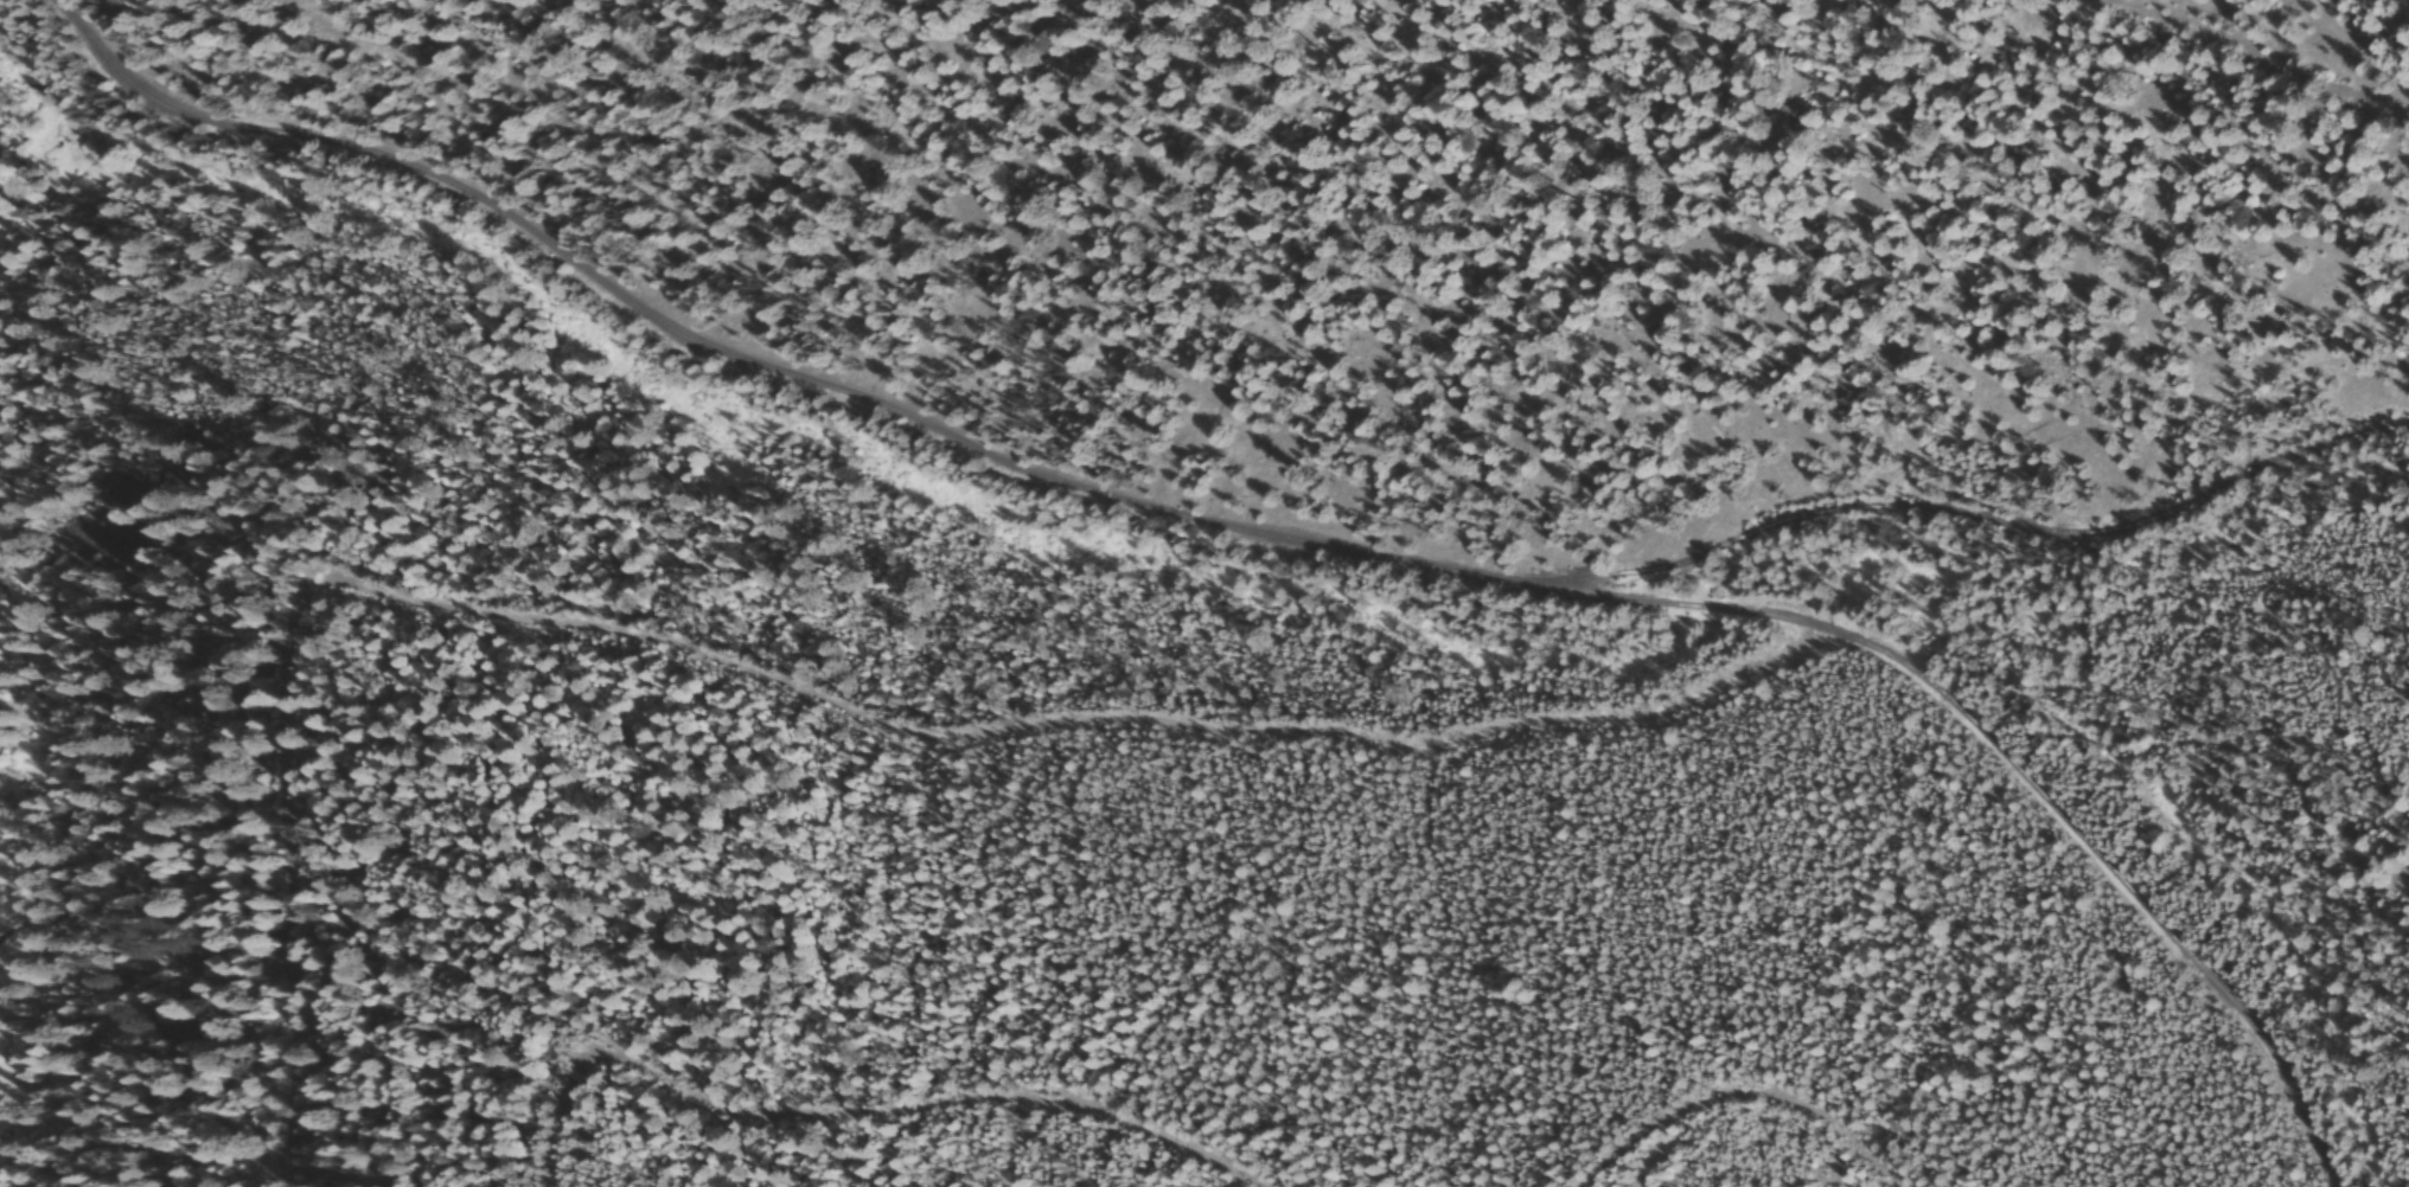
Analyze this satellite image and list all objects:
road: (2166, 66)
road: (2153, 469)
road: (1284, 495)
road: (880, 765)
road: (1625, 1179)

